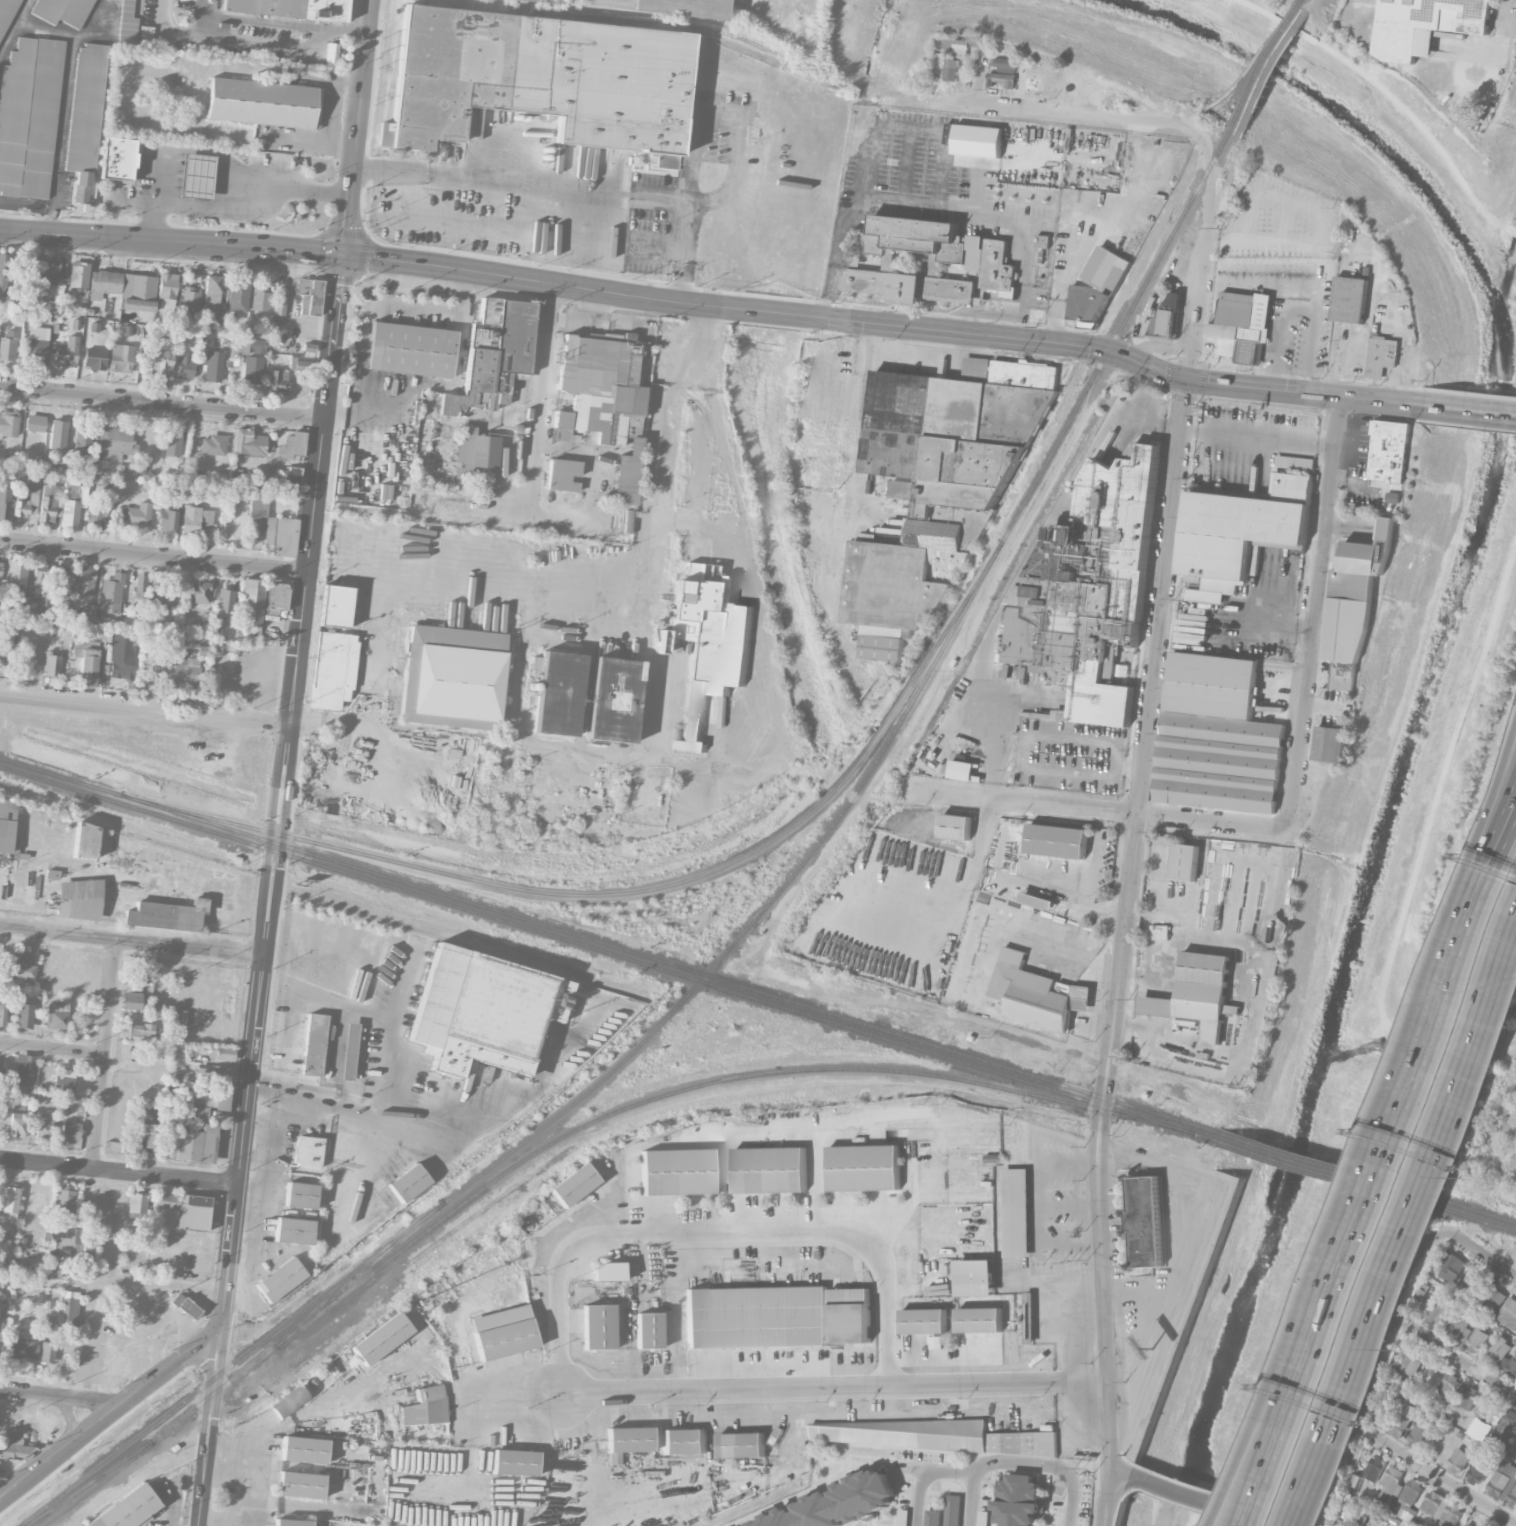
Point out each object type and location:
railway: (1301, 0)
building: (181, 4)
building: (668, 5)
building: (290, 8)
building: (62, 11)
building: (6, 14)
road: (245, 20)
building: (128, 21)
building: (1425, 23)
road: (1501, 23)
railway: (701, 27)
road: (1467, 42)
building: (950, 45)
building: (962, 46)
building: (1002, 65)
railway: (1263, 67)
building: (951, 69)
building: (434, 73)
road: (981, 73)
building: (1001, 79)
building: (1034, 79)
building: (600, 83)
road: (1389, 97)
building: (264, 103)
road: (1086, 113)
building: (29, 116)
road: (731, 116)
building: (85, 117)
building: (978, 140)
building: (117, 159)
building: (195, 175)
road: (569, 185)
road: (878, 195)
road: (236, 203)
road: (1514, 230)
road: (1293, 239)
building: (1043, 240)
road: (835, 252)
traffic signals: (342, 256)
building: (928, 261)
road: (1204, 264)
building: (27, 269)
road: (1261, 269)
building: (49, 272)
building: (77, 274)
building: (4, 275)
building: (103, 283)
building: (1096, 284)
building: (166, 286)
road: (1060, 288)
building: (137, 292)
building: (212, 292)
building: (309, 295)
building: (238, 296)
building: (190, 299)
building: (260, 299)
building: (1350, 299)
road: (1306, 300)
building: (279, 303)
road: (714, 305)
building: (1166, 315)
building: (1243, 322)
building: (37, 344)
road: (689, 344)
building: (8, 345)
building: (249, 345)
building: (410, 349)
building: (66, 352)
building: (1382, 356)
building: (93, 358)
building: (120, 358)
building: (160, 361)
building: (299, 365)
building: (213, 366)
building: (184, 367)
building: (252, 369)
traffic signals: (1186, 378)
building: (277, 382)
road: (444, 385)
road: (539, 399)
building: (607, 400)
road: (162, 402)
road: (1470, 408)
building: (8, 423)
building: (35, 423)
building: (561, 426)
building: (958, 428)
building: (57, 435)
road: (1257, 436)
building: (82, 441)
building: (112, 442)
building: (248, 442)
building: (172, 443)
building: (213, 445)
building: (291, 446)
building: (601, 449)
building: (1390, 450)
building: (475, 451)
building: (136, 467)
building: (562, 474)
building: (277, 477)
building: (902, 489)
building: (1395, 497)
building: (28, 498)
building: (72, 502)
building: (49, 503)
building: (4, 504)
building: (258, 507)
road: (525, 514)
building: (136, 515)
building: (195, 519)
building: (167, 523)
building: (1243, 528)
building: (280, 536)
road: (153, 554)
road: (1023, 569)
building: (0, 572)
building: (21, 576)
road: (528, 578)
building: (85, 580)
building: (903, 583)
building: (139, 586)
road: (304, 591)
building: (199, 592)
building: (110, 594)
building: (1357, 594)
building: (166, 596)
building: (277, 596)
building: (226, 601)
building: (250, 603)
building: (44, 607)
building: (1086, 608)
road: (1315, 611)
building: (88, 614)
building: (11, 627)
building: (708, 644)
building: (332, 649)
road: (766, 654)
building: (122, 655)
building: (181, 662)
building: (52, 664)
building: (86, 664)
building: (453, 677)
building: (557, 692)
building: (613, 699)
road: (145, 709)
road: (305, 722)
building: (1111, 730)
road: (647, 731)
building: (1217, 736)
building: (1331, 743)
building: (963, 770)
road: (1439, 778)
road: (1493, 796)
road: (1092, 811)
building: (8, 823)
road: (1498, 825)
building: (956, 826)
building: (1057, 840)
building: (85, 841)
road: (1505, 849)
building: (1185, 861)
road: (1065, 889)
railway: (626, 891)
building: (78, 899)
building: (1038, 900)
road: (1469, 914)
building: (166, 915)
road: (1476, 917)
railway: (741, 933)
road: (131, 942)
railway: (609, 944)
road: (1062, 944)
railway: (597, 949)
road: (1121, 951)
building: (20, 968)
road: (1429, 980)
road: (406, 983)
building: (1205, 992)
building: (1034, 993)
building: (130, 1000)
building: (1157, 1005)
road: (1255, 1008)
building: (484, 1011)
building: (2, 1012)
building: (24, 1015)
building: (58, 1015)
road: (1430, 1026)
building: (138, 1032)
road: (1384, 1036)
building: (314, 1044)
road: (53, 1050)
building: (352, 1051)
building: (224, 1054)
road: (106, 1055)
building: (27, 1068)
building: (214, 1072)
building: (63, 1081)
railway: (701, 1084)
road: (264, 1090)
building: (201, 1095)
building: (222, 1098)
road: (375, 1101)
road: (1399, 1103)
road: (509, 1111)
building: (193, 1113)
road: (1454, 1113)
building: (17, 1124)
building: (43, 1126)
road: (1456, 1129)
building: (70, 1130)
building: (148, 1134)
railway: (1204, 1136)
railway: (1312, 1138)
road: (770, 1140)
building: (191, 1144)
building: (307, 1151)
railway: (1299, 1155)
building: (993, 1158)
railway: (1298, 1164)
road: (1066, 1166)
building: (864, 1167)
building: (770, 1169)
road: (119, 1171)
building: (676, 1172)
building: (404, 1180)
building: (574, 1184)
building: (302, 1195)
railway: (1448, 1200)
building: (64, 1201)
building: (10, 1202)
road: (1067, 1204)
building: (136, 1205)
railway: (1448, 1210)
building: (180, 1212)
road: (262, 1212)
building: (1015, 1212)
road: (1395, 1212)
building: (1146, 1221)
road: (1195, 1224)
road: (717, 1229)
building: (293, 1230)
building: (66, 1237)
road: (1069, 1239)
road: (1037, 1242)
road: (1480, 1253)
road: (229, 1259)
building: (1450, 1265)
building: (52, 1266)
railway: (362, 1270)
building: (608, 1272)
building: (975, 1277)
building: (280, 1279)
road: (149, 1283)
road: (101, 1284)
building: (1470, 1285)
road: (1336, 1290)
road: (1138, 1291)
building: (1492, 1296)
building: (1415, 1298)
building: (185, 1306)
building: (70, 1307)
building: (1440, 1312)
building: (1508, 1312)
building: (850, 1315)
road: (1302, 1316)
building: (3, 1317)
building: (757, 1317)
building: (1029, 1317)
road: (1316, 1317)
building: (979, 1319)
building: (924, 1320)
road: (1388, 1321)
building: (1459, 1326)
building: (598, 1327)
building: (648, 1330)
building: (503, 1332)
road: (1143, 1335)
building: (381, 1339)
building: (1477, 1339)
building: (22, 1348)
building: (1500, 1350)
building: (47, 1352)
road: (1454, 1354)
building: (1409, 1361)
building: (1511, 1366)
building: (1448, 1385)
road: (835, 1386)
building: (1468, 1397)
road: (62, 1398)
building: (291, 1400)
road: (1345, 1404)
building: (426, 1407)
building: (1489, 1413)
road: (109, 1416)
building: (1371, 1416)
building: (1400, 1419)
road: (71, 1423)
building: (1505, 1426)
road: (208, 1429)
railway: (157, 1434)
building: (1419, 1434)
building: (923, 1435)
building: (629, 1439)
building: (685, 1441)
building: (1515, 1442)
road: (600, 1443)
building: (743, 1444)
building: (14, 1446)
building: (304, 1449)
building: (1458, 1460)
building: (516, 1462)
road: (994, 1464)
building: (1373, 1468)
road: (250, 1471)
building: (1478, 1471)
road: (1121, 1474)
road: (1432, 1474)
building: (1391, 1480)
railway: (88, 1482)
building: (1504, 1483)
building: (300, 1485)
road: (1180, 1492)
building: (1379, 1496)
road: (970, 1498)
building: (1409, 1498)
building: (1020, 1500)
building: (838, 1503)
building: (127, 1509)
building: (1441, 1509)
building: (953, 1510)
building: (933, 1517)
building: (982, 1518)
road: (1244, 1519)
building: (291, 1522)
building: (1468, 1524)

